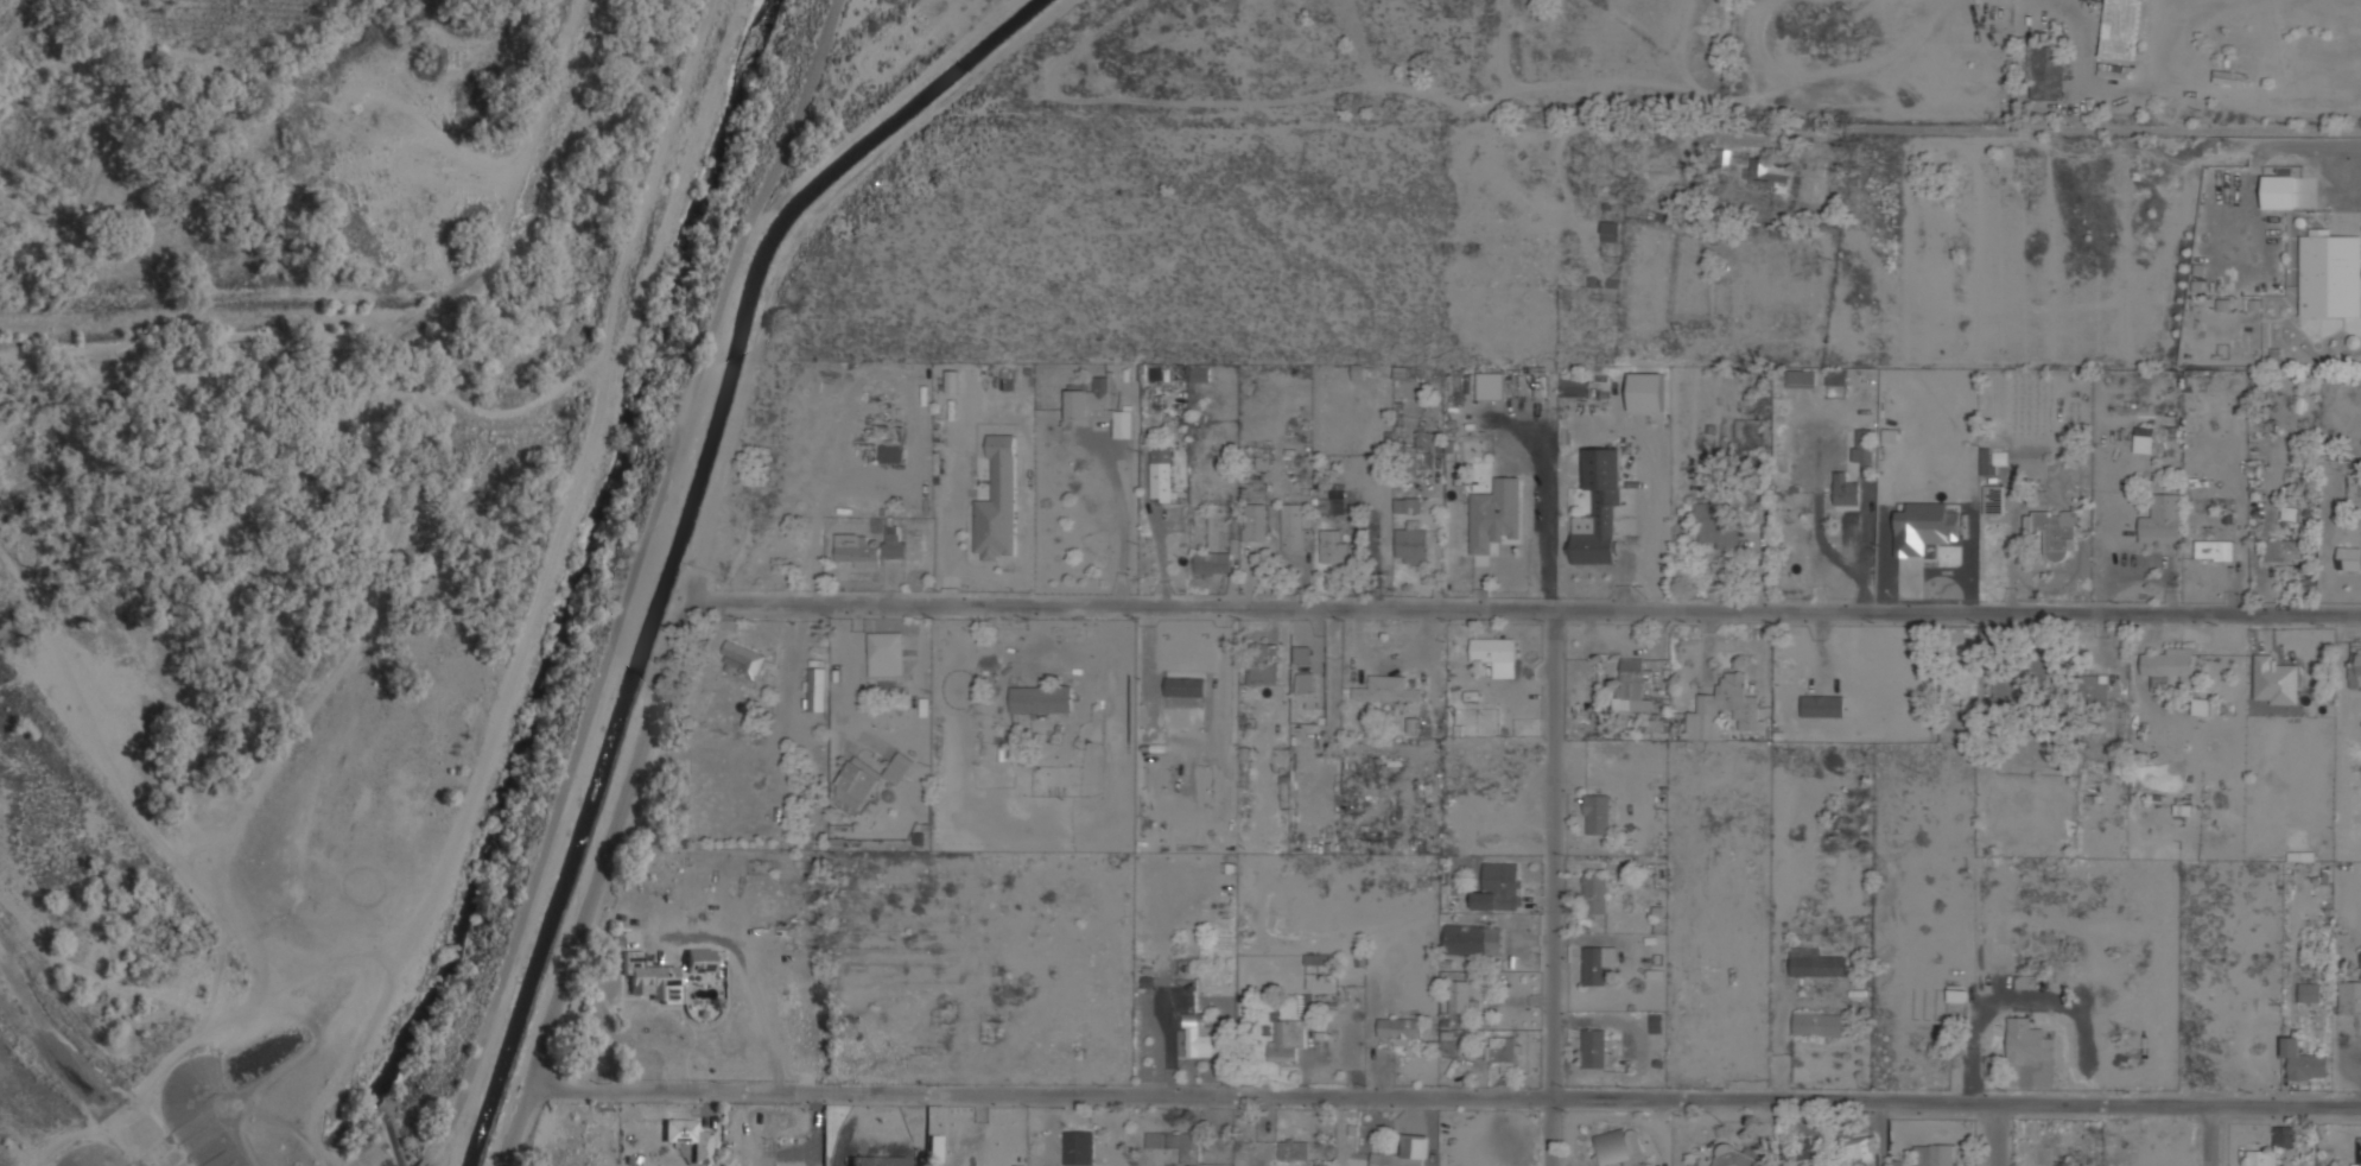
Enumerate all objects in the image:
building: (2120, 28)
building: (2044, 70)
building: (2115, 70)
building: (2229, 76)
road: (1957, 156)
building: (1766, 172)
building: (2280, 190)
building: (1610, 230)
building: (2330, 274)
building: (1200, 374)
building: (1802, 378)
building: (1836, 378)
building: (1574, 385)
building: (1646, 392)
building: (1091, 399)
building: (1124, 422)
building: (1426, 449)
building: (1865, 449)
building: (891, 454)
building: (1947, 461)
building: (1987, 461)
building: (1162, 475)
building: (1846, 489)
building: (1994, 499)
building: (998, 501)
building: (1408, 503)
building: (1599, 509)
building: (1494, 514)
building: (1950, 519)
building: (2163, 519)
building: (1256, 521)
building: (1294, 525)
building: (1716, 525)
building: (2055, 532)
building: (1411, 544)
building: (871, 545)
building: (1898, 545)
building: (1334, 546)
building: (2215, 550)
building: (2285, 550)
building: (1953, 551)
building: (2349, 557)
building: (1214, 562)
road: (630, 583)
road: (1544, 610)
building: (1493, 648)
building: (887, 653)
building: (743, 660)
building: (1264, 663)
building: (2169, 665)
building: (2356, 666)
building: (1792, 670)
building: (1186, 673)
building: (2276, 679)
building: (1632, 683)
building: (2024, 683)
building: (1185, 686)
building: (2094, 686)
building: (1386, 687)
building: (815, 689)
building: (1307, 689)
building: (1041, 698)
building: (1728, 702)
building: (1822, 705)
building: (2201, 706)
building: (1658, 725)
building: (899, 766)
building: (857, 784)
building: (1597, 813)
building: (1499, 886)
road: (1559, 888)
building: (1595, 891)
road: (223, 915)
building: (1472, 938)
building: (1318, 958)
building: (700, 959)
building: (2360, 961)
building: (1598, 962)
building: (1816, 962)
road: (747, 975)
building: (653, 977)
building: (2310, 991)
building: (1462, 996)
building: (2350, 997)
building: (1309, 1002)
building: (1820, 1022)
building: (1400, 1026)
building: (1202, 1037)
building: (1288, 1038)
building: (2029, 1041)
building: (1594, 1047)
building: (1505, 1052)
building: (2303, 1062)
road: (153, 1079)
road: (1448, 1098)
road: (519, 1124)
road: (1879, 1135)
building: (2285, 1135)
building: (690, 1136)
road: (1995, 1136)
road: (2210, 1136)
building: (1176, 1143)
building: (1081, 1146)
building: (935, 1147)
building: (1620, 1147)
building: (1295, 1149)
building: (1809, 1149)
building: (1857, 1149)
building: (2356, 1151)
building: (1407, 1152)
building: (1936, 1154)
building: (1732, 1157)
building: (2262, 1158)
building: (877, 1161)
building: (2322, 1165)

